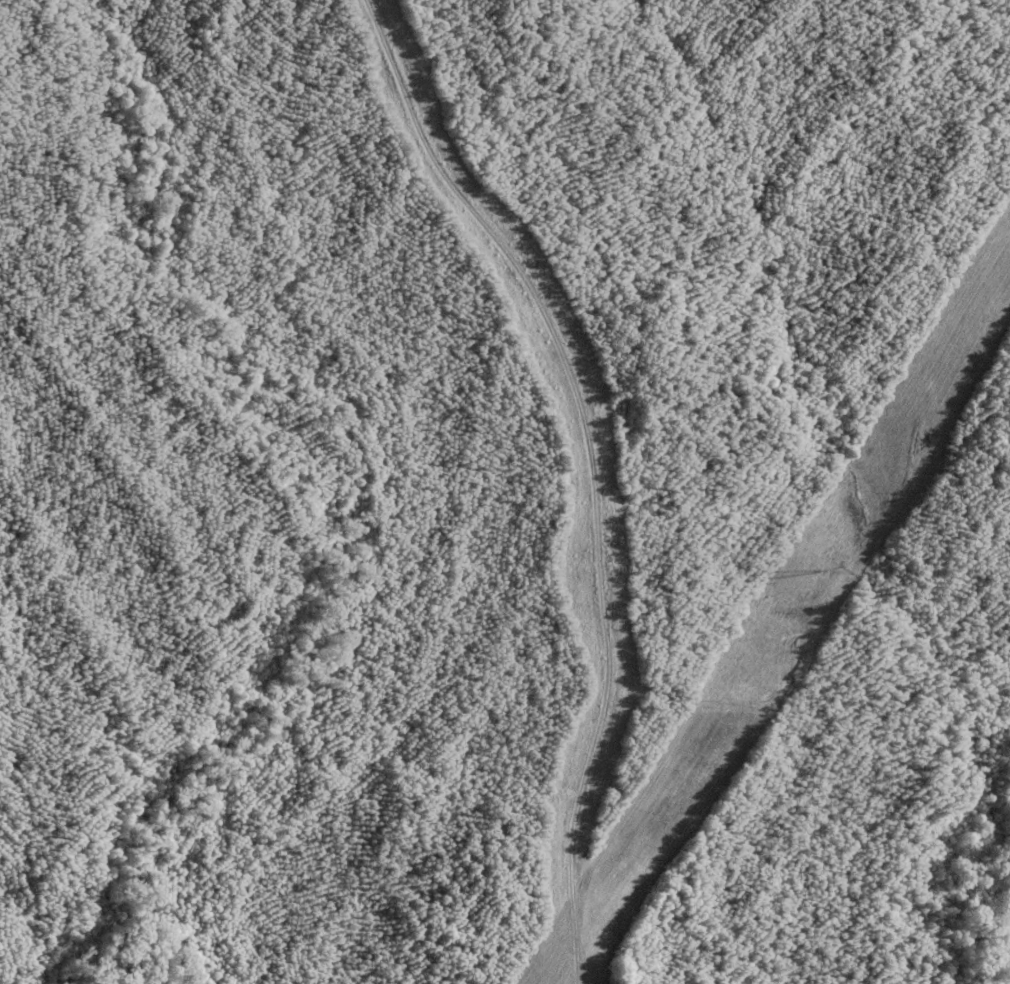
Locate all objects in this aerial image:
power tower: (819, 571)

